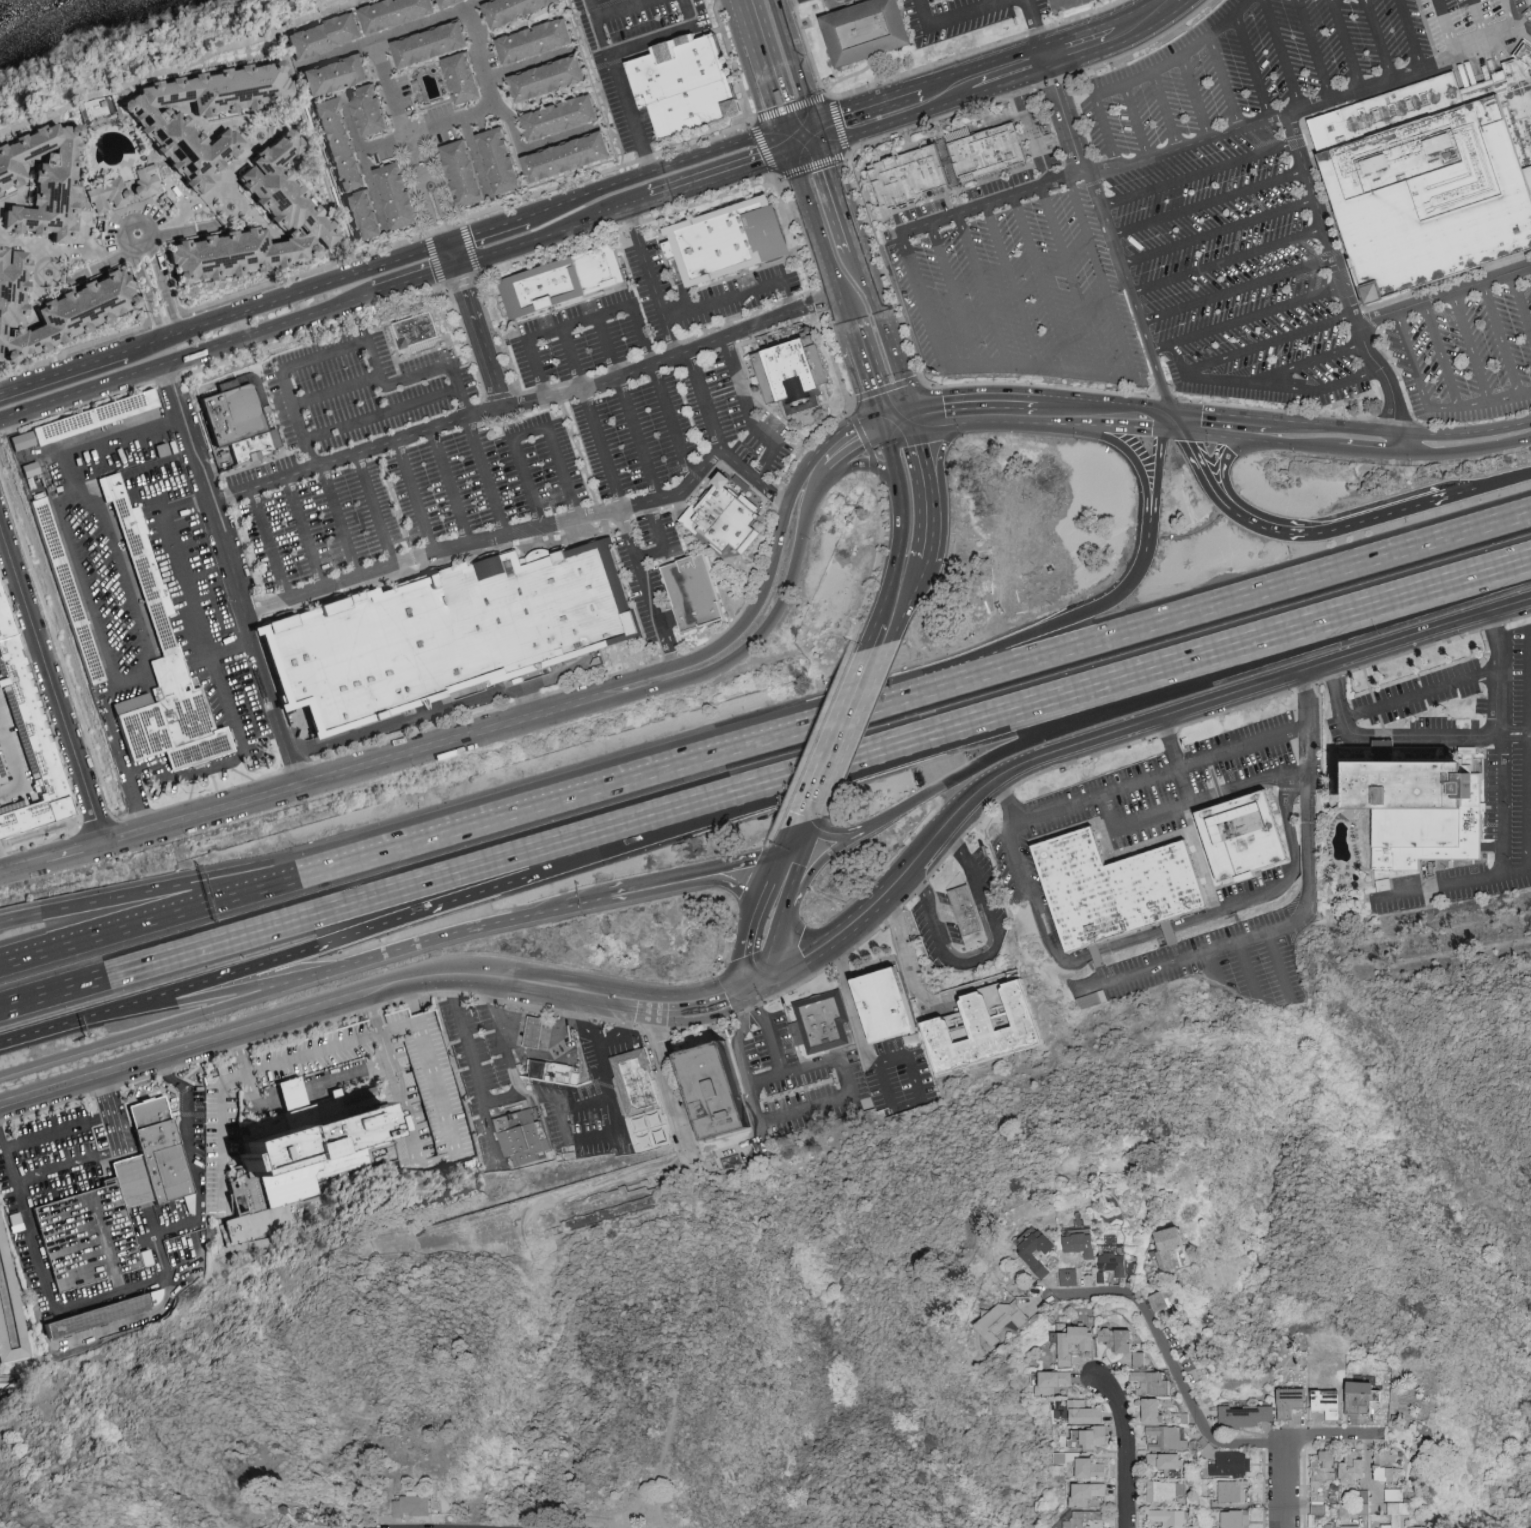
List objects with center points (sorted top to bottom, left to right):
road: (776, 1)
road: (781, 1)
building: (454, 2)
road: (629, 3)
river: (11, 4)
building: (1071, 4)
road: (742, 6)
building: (517, 9)
road: (624, 9)
building: (399, 12)
road: (957, 18)
road: (1143, 20)
road: (1481, 24)
road: (597, 28)
road: (420, 29)
road: (1038, 29)
road: (1450, 29)
building: (862, 31)
building: (328, 35)
road: (664, 35)
road: (1407, 36)
building: (540, 40)
road: (1378, 40)
building: (435, 43)
road: (1345, 45)
road: (1078, 47)
road: (1312, 50)
road: (1284, 54)
road: (1181, 56)
road: (796, 61)
road: (981, 64)
road: (184, 67)
road: (1253, 68)
road: (763, 71)
building: (339, 74)
building: (466, 77)
building: (552, 77)
road: (490, 78)
road: (1016, 81)
road: (1224, 84)
building: (686, 85)
road: (1195, 98)
road: (397, 102)
road: (866, 102)
road: (1320, 102)
building: (373, 109)
road: (629, 113)
road: (1163, 113)
building: (209, 114)
building: (566, 116)
road: (1064, 116)
traffic signals: (815, 119)
road: (903, 120)
road: (464, 122)
road: (1136, 122)
road: (799, 125)
traffic signals: (783, 131)
road: (1108, 131)
road: (819, 132)
road: (1032, 132)
building: (578, 133)
building: (343, 143)
road: (788, 143)
traffic signals: (824, 147)
road: (531, 149)
road: (715, 152)
road: (808, 152)
building: (983, 152)
building: (572, 156)
traffic signals: (792, 157)
building: (40, 159)
building: (504, 160)
building: (469, 171)
road: (1198, 173)
building: (907, 176)
road: (721, 177)
building: (148, 179)
building: (1432, 179)
building: (47, 180)
road: (231, 191)
building: (111, 194)
road: (589, 194)
building: (403, 195)
road: (841, 197)
road: (434, 201)
road: (990, 201)
road: (1208, 204)
building: (289, 205)
road: (625, 208)
parking lot: (1187, 213)
building: (369, 214)
road: (132, 218)
road: (489, 227)
road: (1218, 232)
road: (818, 240)
traffic signals: (449, 241)
road: (528, 243)
building: (733, 245)
road: (57, 248)
road: (1228, 263)
traffic signals: (457, 266)
road: (102, 268)
road: (1339, 274)
road: (415, 279)
road: (1069, 279)
road: (1041, 281)
road: (650, 282)
building: (568, 284)
road: (1011, 284)
road: (982, 289)
road: (1238, 290)
road: (1103, 291)
road: (289, 294)
road: (952, 295)
road: (1131, 295)
road: (737, 296)
road: (1443, 296)
road: (1521, 304)
building: (55, 307)
road: (633, 313)
road: (926, 315)
road: (1247, 319)
road: (475, 325)
road: (886, 333)
road: (850, 334)
building: (420, 335)
road: (1500, 341)
road: (1270, 342)
road: (360, 343)
road: (1470, 348)
road: (187, 355)
road: (1439, 356)
parking lot: (1467, 359)
road: (1412, 360)
road: (1313, 363)
road: (1038, 365)
road: (65, 370)
building: (791, 372)
road: (1207, 380)
road: (867, 386)
road: (1322, 390)
road: (337, 392)
road: (704, 401)
road: (526, 403)
road: (1479, 404)
road: (627, 408)
road: (1003, 410)
road: (940, 414)
road: (383, 415)
road: (1104, 415)
road: (592, 417)
road: (747, 417)
traffic signals: (913, 418)
road: (897, 422)
building: (100, 424)
parking lot: (512, 424)
road: (1213, 425)
traffic signals: (882, 426)
road: (1326, 426)
building: (239, 428)
road: (532, 432)
road: (1464, 432)
road: (1268, 436)
road: (1397, 441)
road: (1310, 444)
road: (844, 448)
road: (1464, 448)
road: (1368, 449)
road: (941, 452)
road: (922, 458)
road: (1139, 464)
road: (855, 467)
road: (1229, 467)
road: (1206, 470)
road: (487, 478)
road: (1506, 481)
road: (449, 488)
road: (1465, 492)
road: (414, 498)
road: (190, 509)
road: (373, 510)
building: (723, 517)
road: (339, 522)
road: (901, 524)
road: (1345, 524)
road: (931, 529)
road: (532, 530)
road: (302, 534)
road: (659, 540)
road: (268, 546)
road: (234, 573)
road: (81, 586)
road: (644, 586)
building: (696, 599)
road: (909, 604)
road: (1381, 604)
road: (197, 609)
building: (68, 612)
road: (746, 617)
road: (1171, 617)
road: (1054, 627)
road: (756, 631)
road: (866, 637)
building: (450, 639)
building: (168, 642)
road: (152, 647)
road: (234, 648)
road: (54, 680)
road: (1420, 691)
road: (1001, 716)
road: (853, 729)
road: (1113, 734)
road: (1039, 736)
road: (1449, 737)
building: (24, 739)
road: (822, 739)
road: (1269, 740)
road: (1530, 743)
road: (638, 776)
road: (1262, 781)
road: (304, 784)
road: (1499, 787)
road: (1103, 795)
parking lot: (1147, 797)
building: (1416, 809)
road: (815, 819)
road: (1135, 823)
traffic signals: (786, 824)
road: (799, 826)
traffic signals: (812, 828)
road: (656, 831)
road: (832, 832)
road: (808, 838)
building: (1239, 839)
road: (778, 843)
road: (787, 856)
road: (1018, 859)
road: (817, 866)
road: (1292, 867)
road: (734, 869)
road: (232, 875)
road: (1456, 877)
road: (653, 885)
road: (730, 886)
building: (1111, 889)
road: (232, 895)
road: (386, 897)
road: (428, 910)
building: (964, 912)
road: (781, 915)
road: (751, 926)
road: (473, 929)
road: (1266, 933)
road: (906, 953)
road: (991, 953)
road: (1105, 954)
parking lot: (1226, 961)
road: (1212, 966)
road: (201, 982)
traffic signals: (764, 983)
road: (752, 987)
traffic signals: (741, 992)
road: (365, 994)
road: (1271, 994)
road: (211, 995)
road: (852, 1006)
building: (882, 1008)
road: (373, 1014)
building: (820, 1023)
road: (169, 1024)
road: (404, 1026)
road: (769, 1028)
road: (42, 1031)
road: (542, 1033)
road: (503, 1035)
road: (597, 1037)
building: (980, 1037)
building: (534, 1038)
road: (742, 1038)
building: (553, 1069)
road: (476, 1072)
parking lot: (900, 1077)
road: (239, 1078)
parking lot: (794, 1081)
road: (665, 1082)
road: (610, 1085)
building: (640, 1088)
building: (711, 1091)
road: (501, 1096)
road: (289, 1097)
road: (848, 1099)
road: (921, 1102)
road: (188, 1103)
road: (579, 1103)
road: (58, 1130)
road: (606, 1135)
building: (521, 1141)
road: (729, 1148)
road: (440, 1158)
building: (158, 1166)
building: (303, 1166)
road: (45, 1171)
road: (131, 1172)
building: (45, 1222)
road: (176, 1224)
road: (105, 1245)
building: (1081, 1245)
building: (1169, 1246)
building: (1036, 1250)
building: (1114, 1264)
road: (184, 1269)
building: (1133, 1269)
building: (1070, 1278)
building: (1102, 1278)
building: (1161, 1301)
road: (53, 1303)
building: (11, 1307)
building: (101, 1314)
building: (1001, 1321)
building: (105, 1330)
building: (1075, 1343)
building: (1123, 1344)
road: (1171, 1359)
building: (1054, 1382)
building: (1152, 1384)
building: (1361, 1398)
building: (1291, 1403)
building: (1327, 1404)
building: (1154, 1412)
building: (1085, 1413)
building: (1246, 1417)
building: (1184, 1419)
road: (1340, 1436)
building: (1090, 1438)
building: (1169, 1438)
road: (1129, 1449)
building: (1226, 1461)
building: (1168, 1465)
building: (1083, 1466)
building: (1387, 1467)
road: (666, 1468)
building: (1324, 1468)
building: (1352, 1468)
road: (1287, 1483)
building: (1165, 1491)
building: (1234, 1491)
building: (1088, 1494)
building: (1395, 1496)
road: (640, 1497)
building: (1364, 1497)
building: (1194, 1503)
building: (1206, 1503)
building: (1319, 1506)
building: (411, 1507)
building: (1364, 1510)
building: (1406, 1510)
building: (1395, 1515)
building: (1169, 1518)
building: (1082, 1519)
building: (1237, 1519)
building: (1330, 1526)
building: (1422, 1526)
building: (1195, 1527)
building: (1207, 1527)
building: (1351, 1527)

